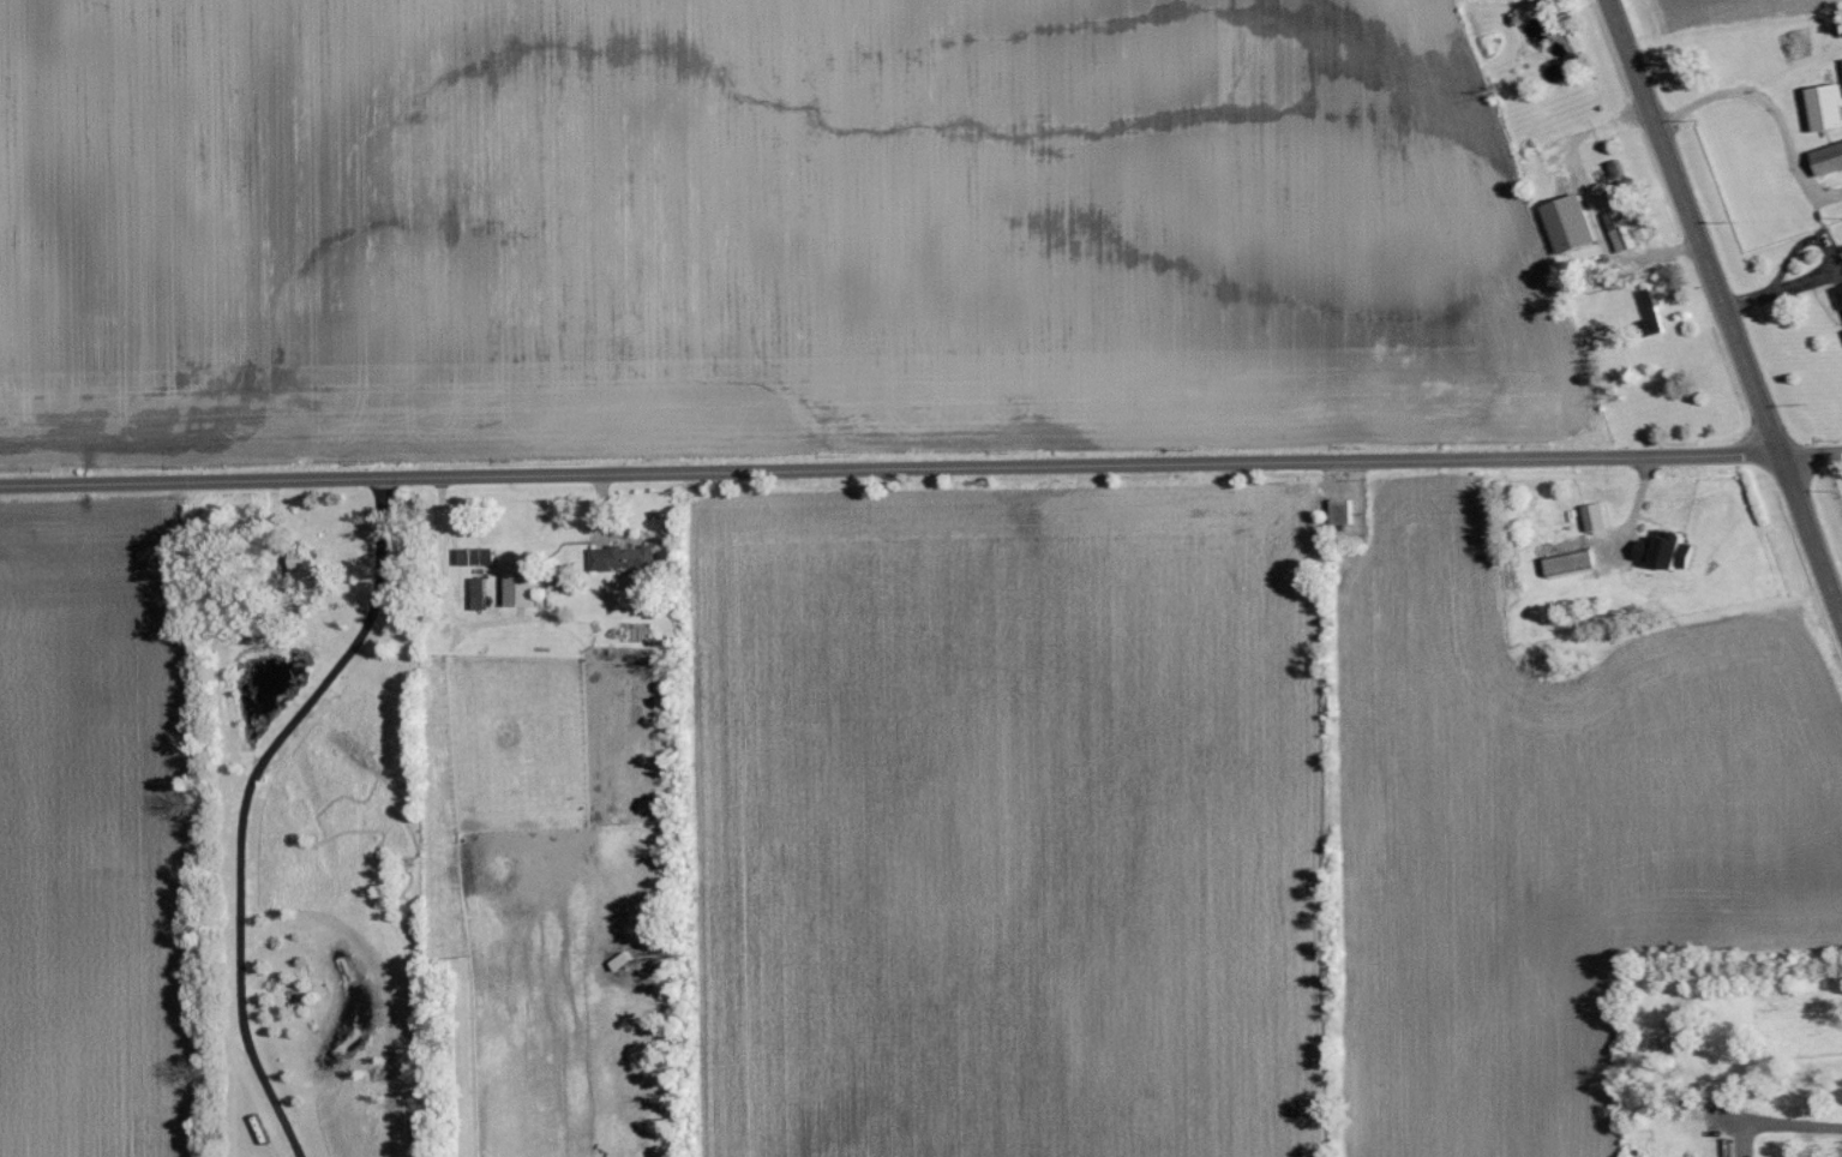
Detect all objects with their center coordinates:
road: (1760, 100)
building: (1828, 108)
building: (1830, 161)
building: (1573, 226)
road: (1696, 227)
building: (1625, 232)
building: (1841, 290)
road: (1812, 452)
road: (892, 470)
road: (604, 506)
building: (1345, 510)
building: (1598, 516)
road: (1812, 536)
building: (1670, 550)
building: (629, 557)
building: (1574, 562)
road: (247, 803)
road: (1792, 1122)

